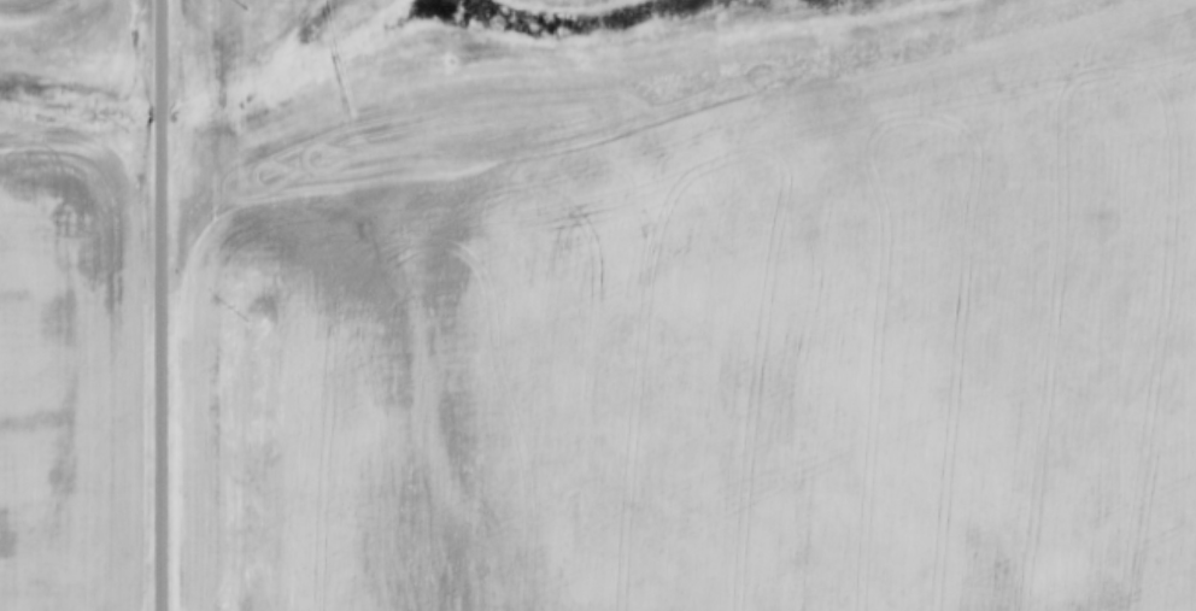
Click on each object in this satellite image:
road: (158, 305)

